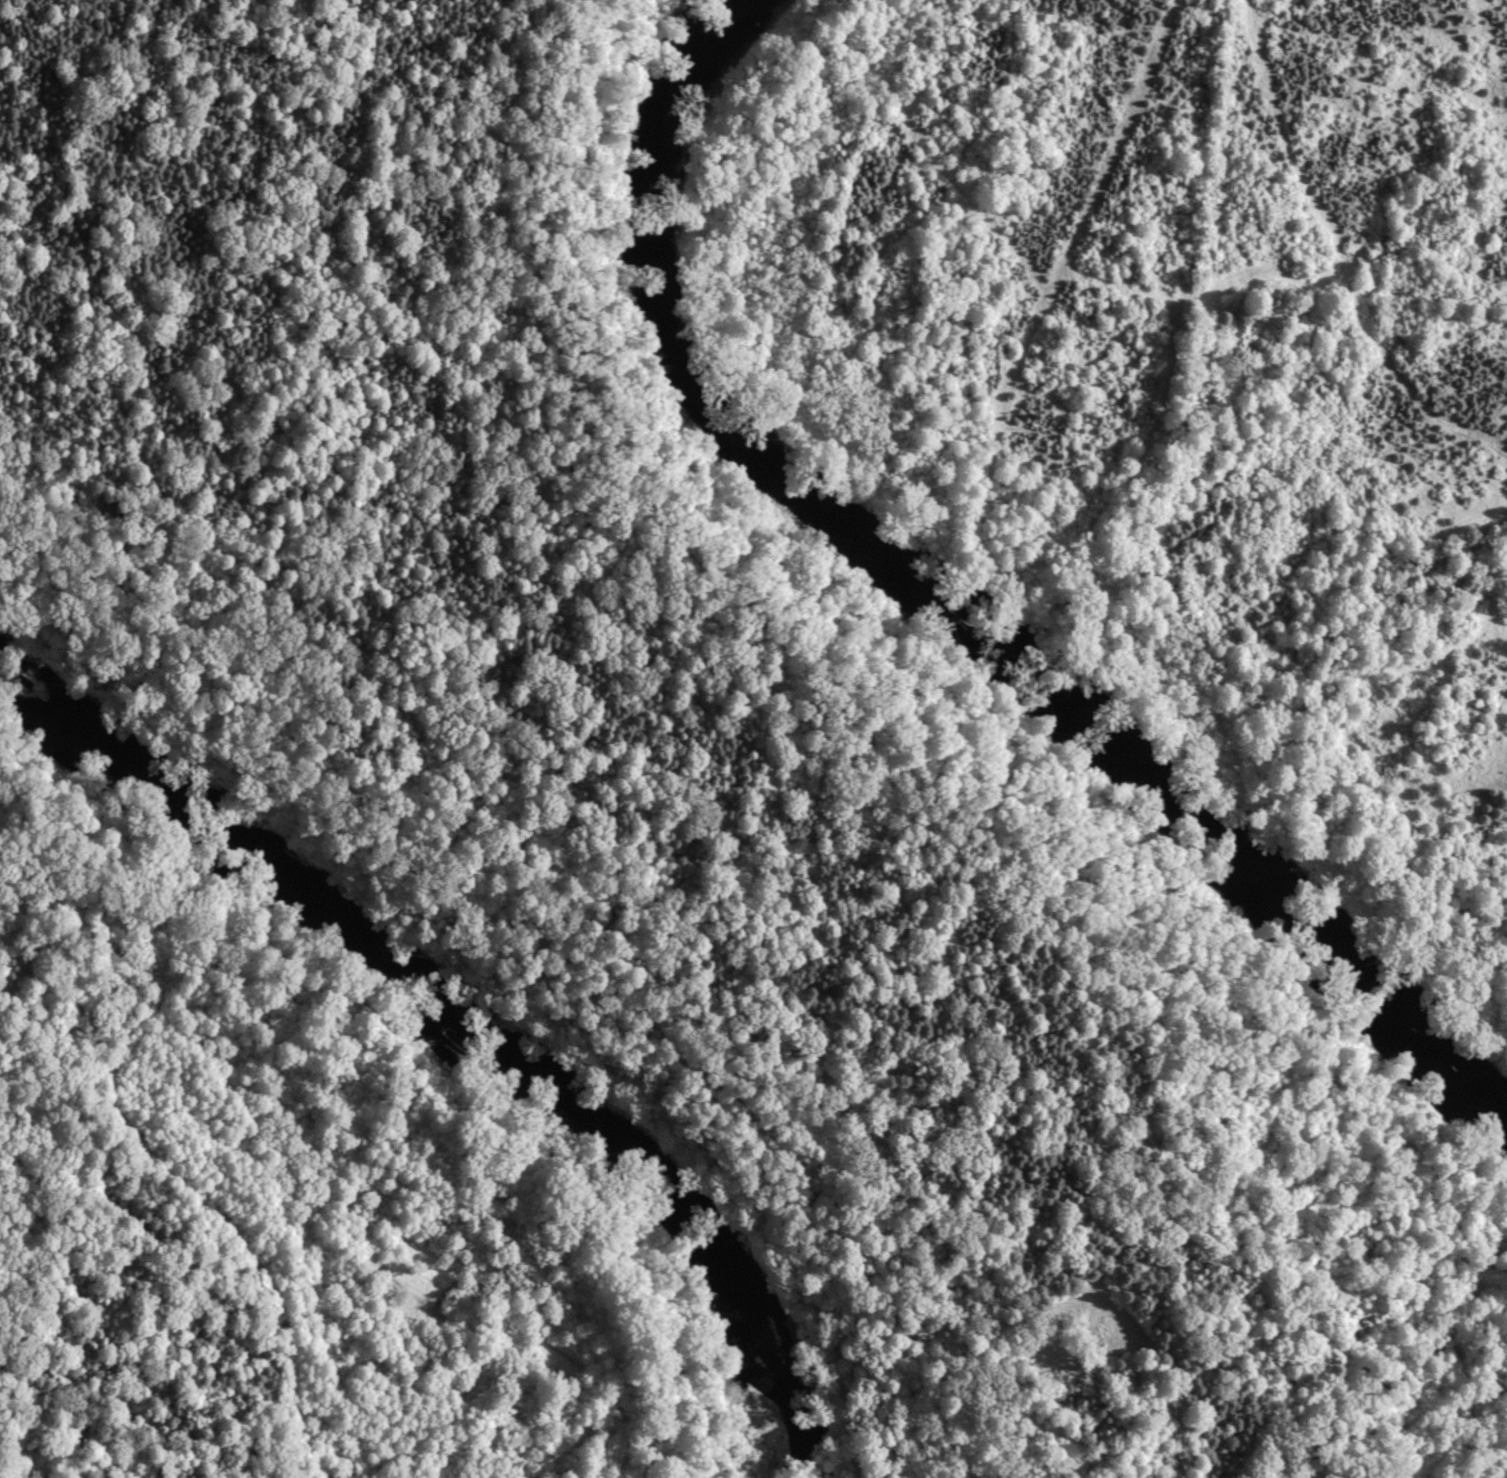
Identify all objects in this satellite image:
river: (922, 624)
river: (472, 1022)

